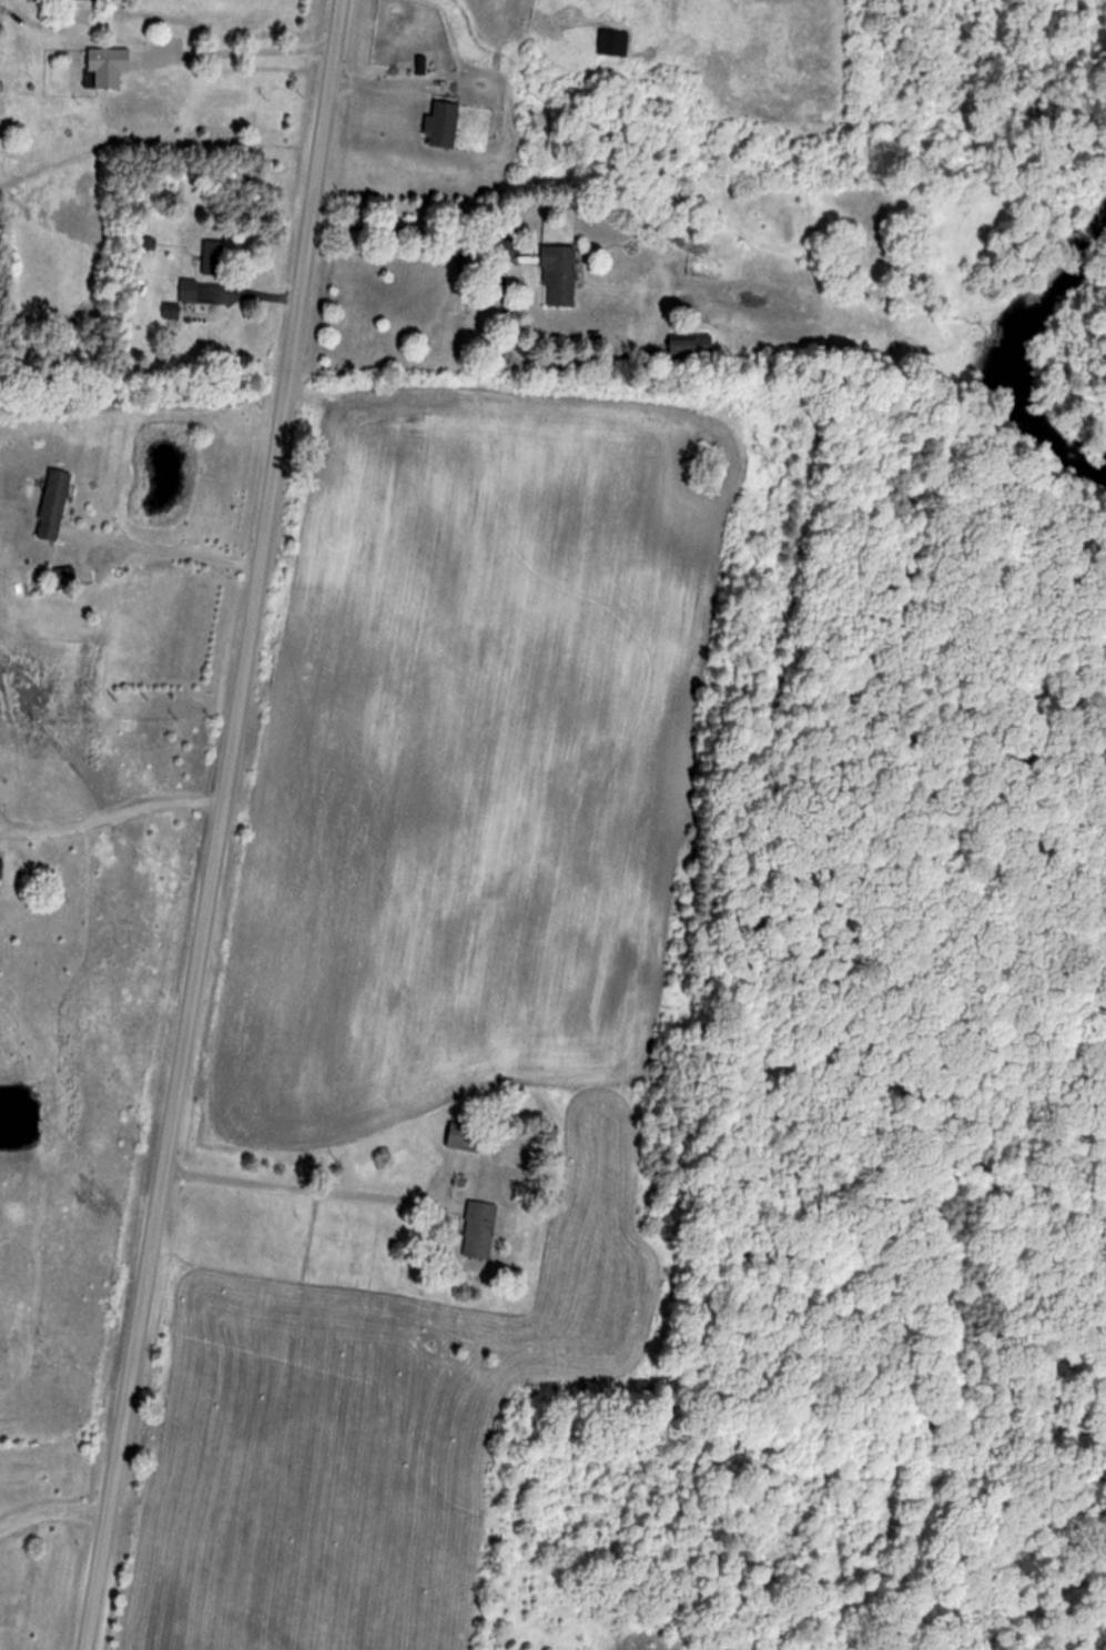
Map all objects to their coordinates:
road: (239, 55)
building: (108, 68)
building: (444, 124)
road: (410, 232)
building: (212, 257)
building: (559, 275)
building: (189, 291)
building: (691, 345)
building: (55, 505)
road: (163, 547)
building: (70, 576)
road: (109, 819)
road: (215, 826)
building: (466, 1136)
road: (296, 1184)
building: (479, 1231)
road: (51, 1506)

